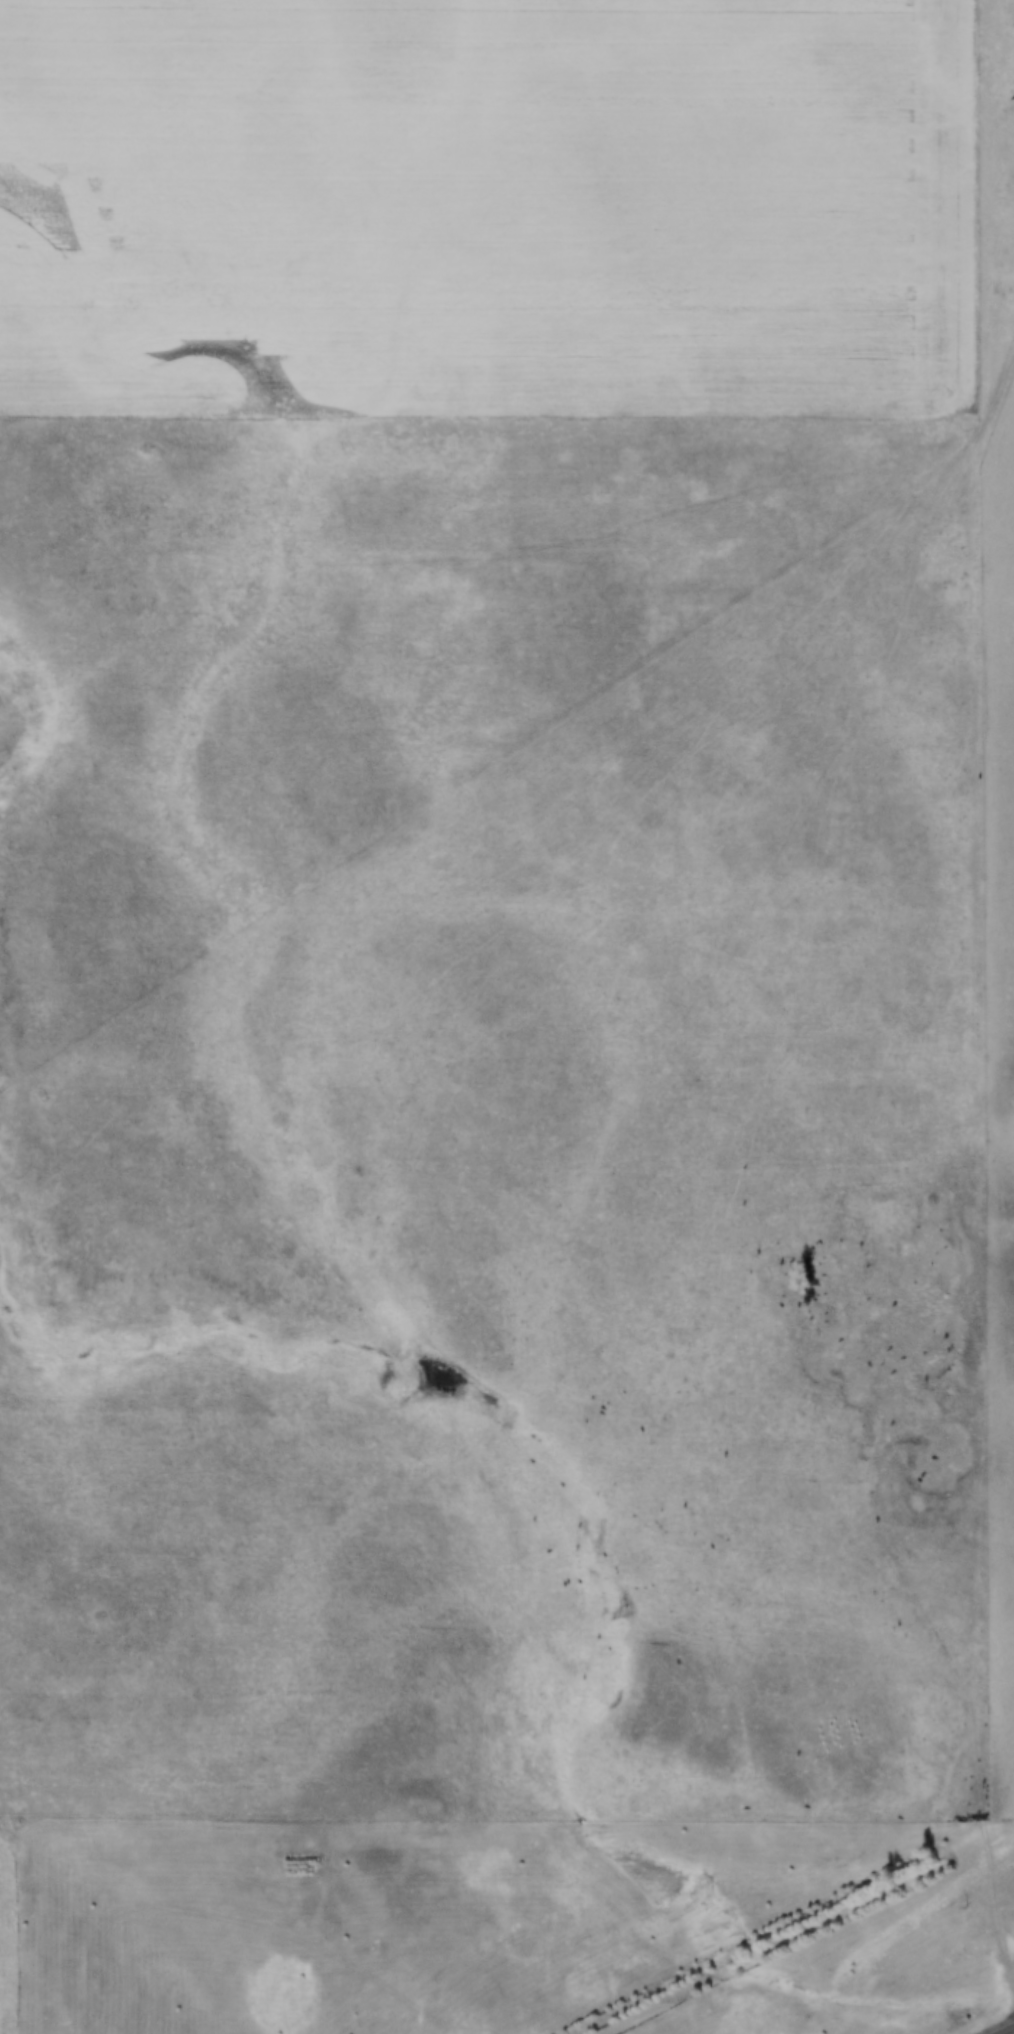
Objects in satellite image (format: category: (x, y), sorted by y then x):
road: (980, 1769)
road: (1012, 2033)

